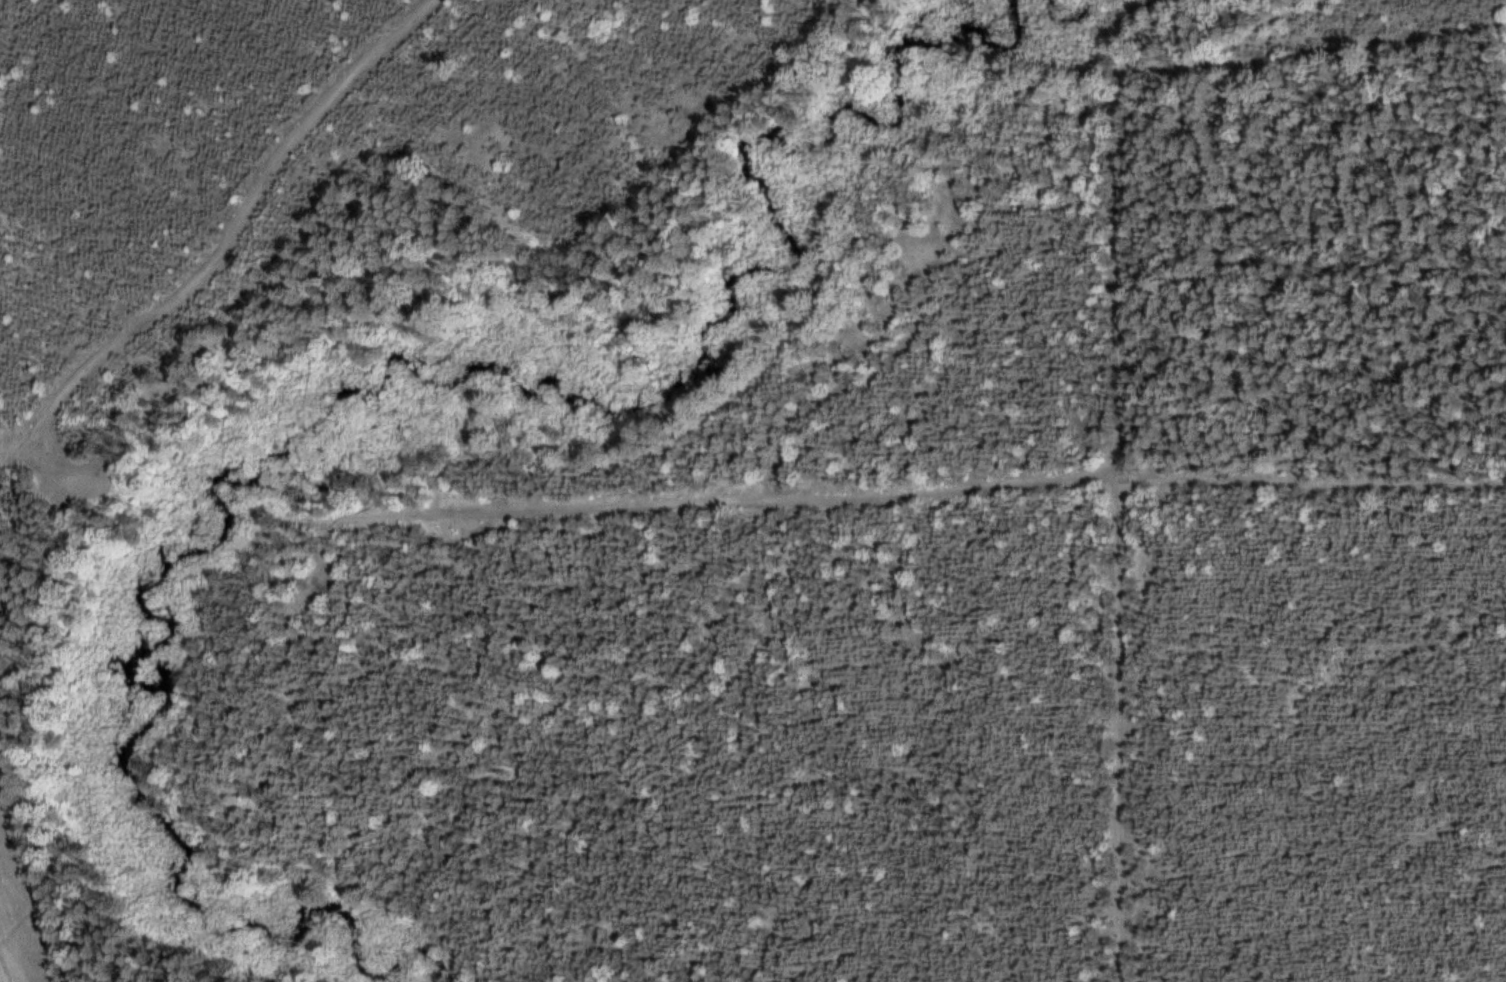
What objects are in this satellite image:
road: (216, 244)
road: (1107, 419)
road: (1308, 478)

